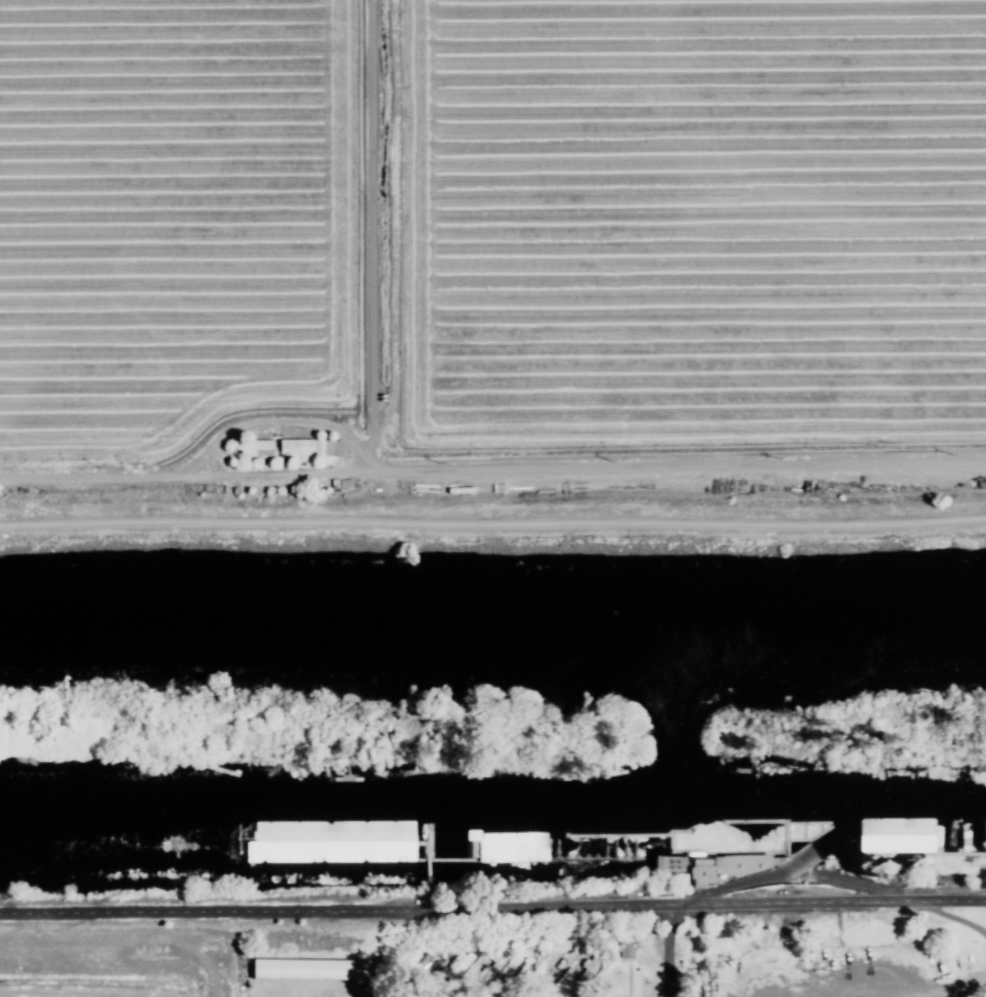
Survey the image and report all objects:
building: (305, 448)
building: (251, 449)
road: (492, 471)
road: (493, 525)
river: (493, 626)
river: (493, 814)
building: (894, 836)
building: (323, 842)
building: (557, 848)
building: (726, 867)
road: (805, 871)
road: (492, 913)
road: (955, 921)
road: (679, 953)
crop: (119, 960)
building: (461, 961)
building: (591, 962)
building: (307, 969)
road: (966, 984)

